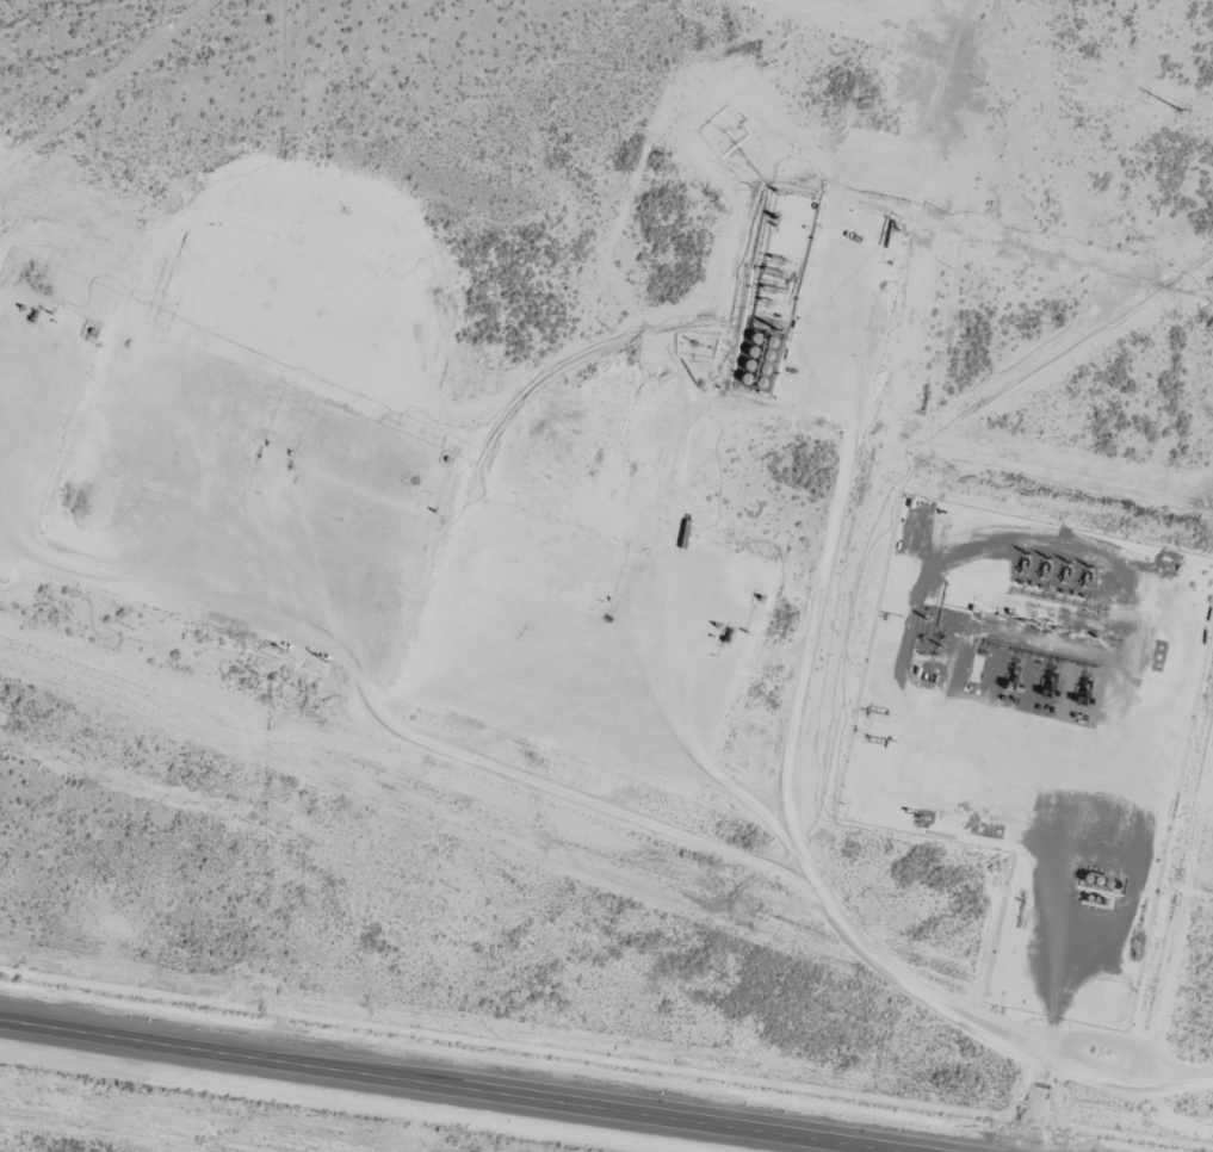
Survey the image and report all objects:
road: (451, 1086)

